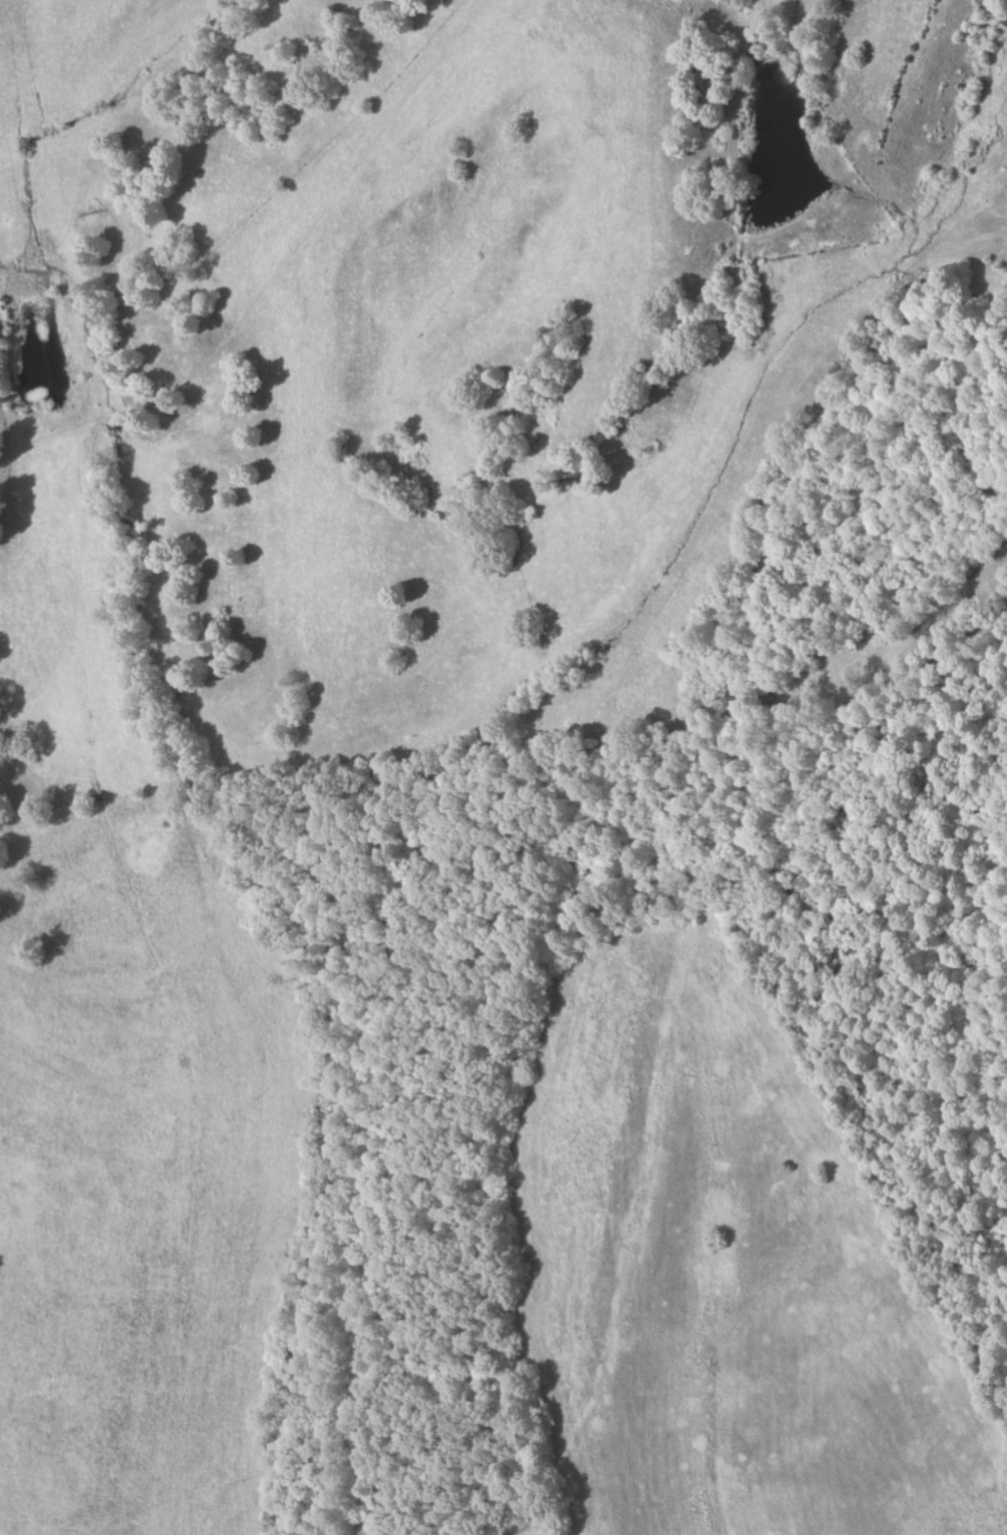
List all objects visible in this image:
road: (660, 1111)

